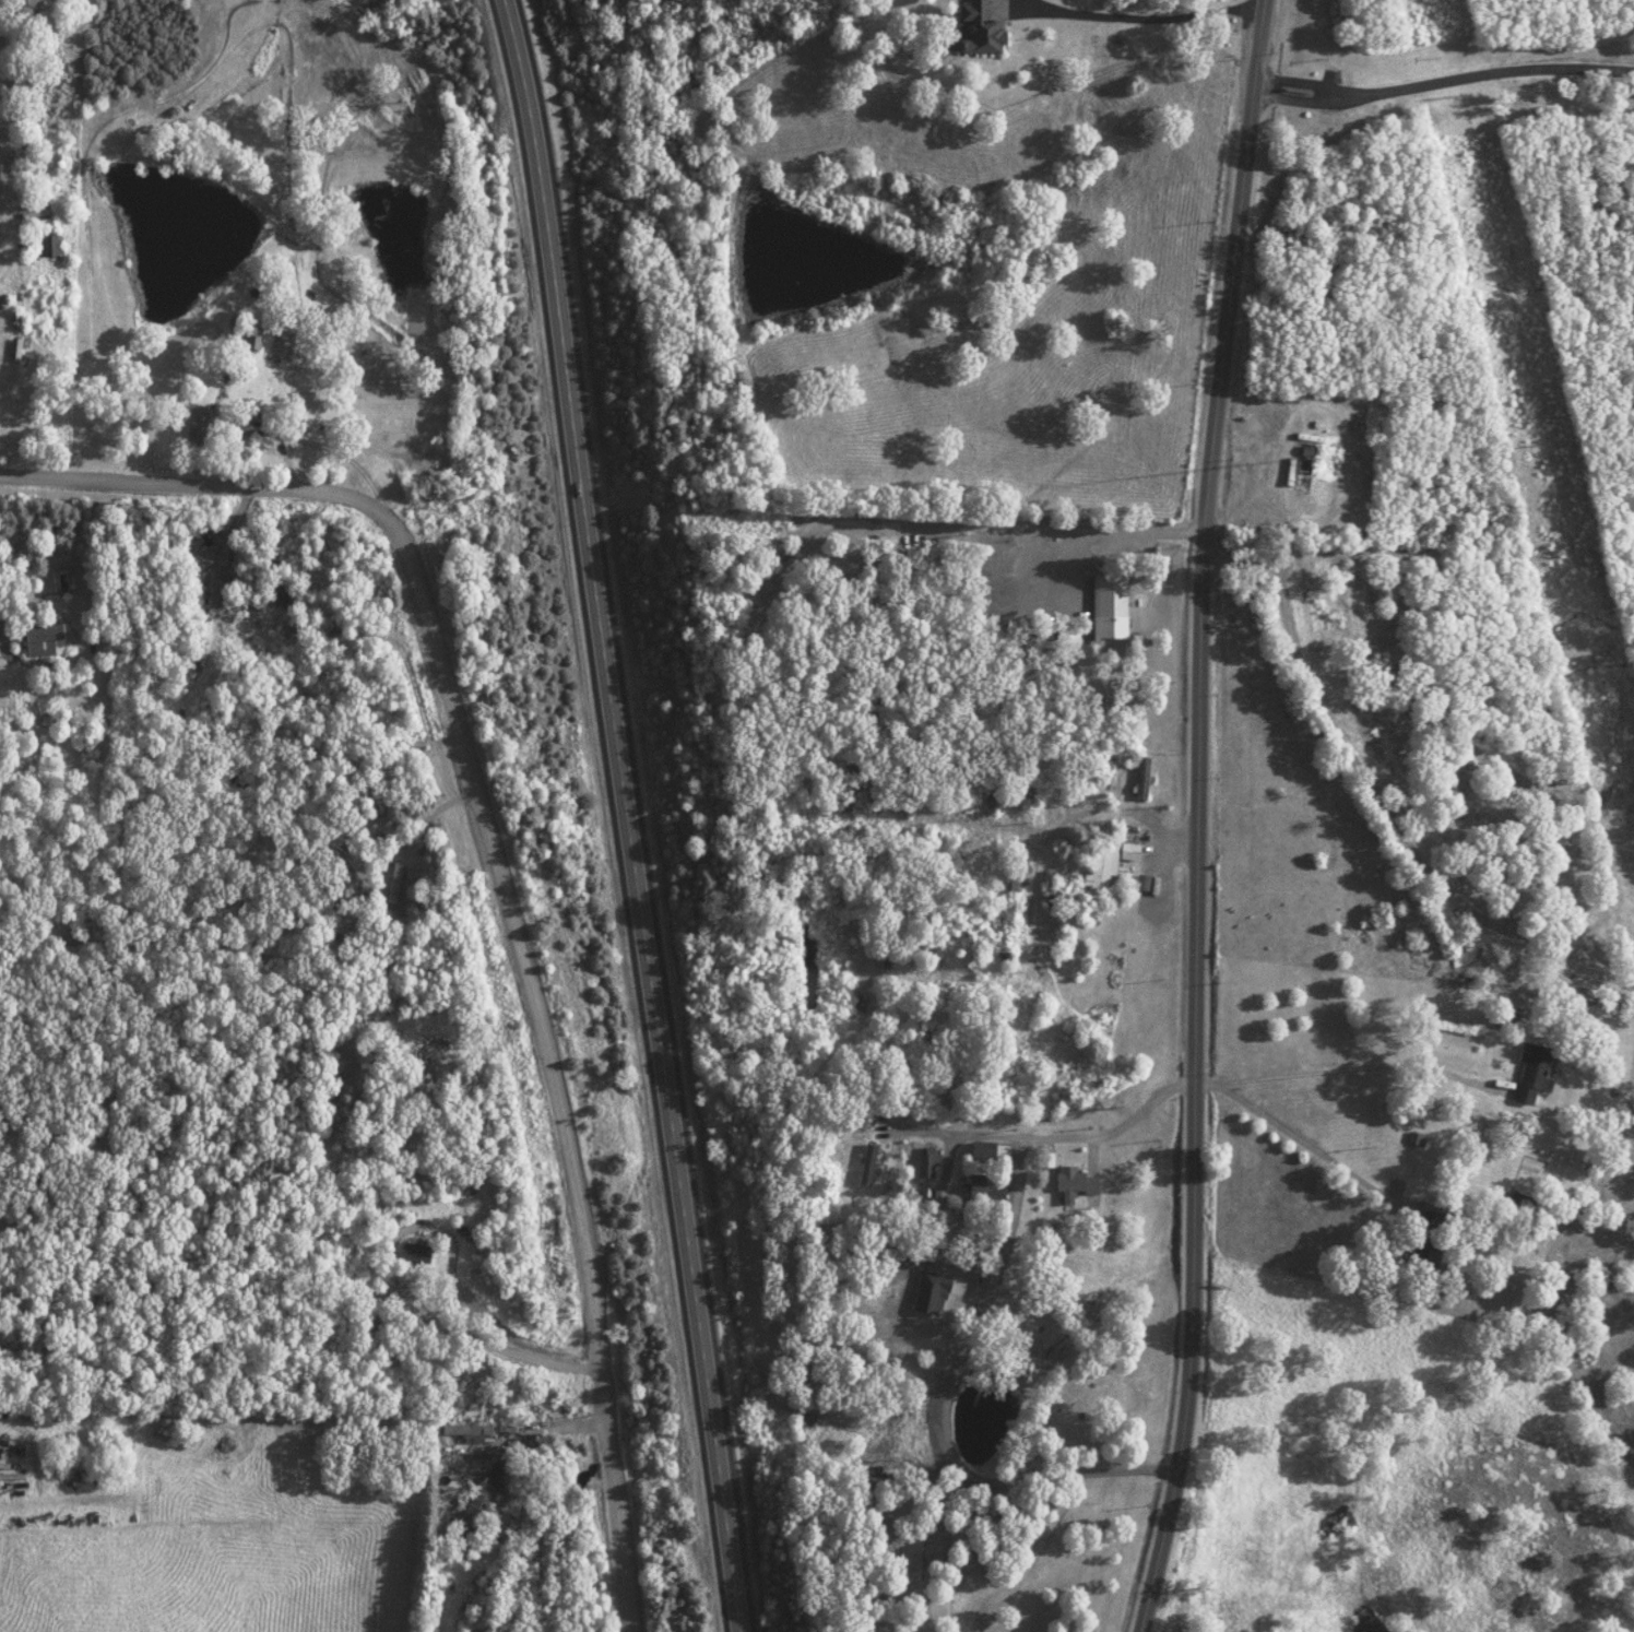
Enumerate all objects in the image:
road: (1150, 13)
building: (976, 28)
road: (1493, 73)
road: (1304, 84)
power tower: (1444, 95)
road: (1303, 98)
building: (47, 244)
building: (253, 336)
building: (201, 423)
power tower: (1520, 447)
building: (1303, 450)
building: (881, 561)
building: (1109, 604)
building: (248, 635)
building: (42, 639)
building: (1141, 777)
building: (1112, 778)
building: (1032, 784)
road: (634, 814)
road: (1195, 816)
building: (1102, 863)
road: (500, 873)
building: (1015, 873)
building: (387, 884)
building: (925, 944)
building: (974, 946)
building: (1006, 948)
building: (884, 955)
building: (1500, 1021)
building: (1529, 1073)
road: (1037, 1136)
building: (987, 1150)
building: (925, 1161)
building: (865, 1163)
building: (1073, 1182)
building: (1524, 1182)
building: (984, 1186)
building: (1426, 1233)
building: (414, 1252)
building: (919, 1252)
building: (369, 1334)
building: (469, 1430)
building: (471, 1515)

